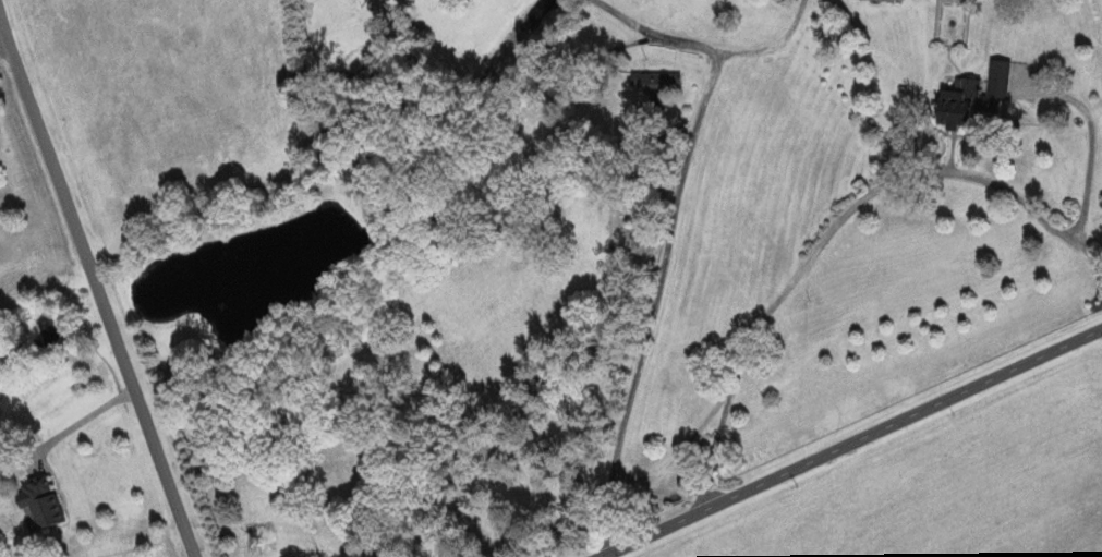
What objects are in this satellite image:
road: (7, 27)
road: (771, 45)
building: (662, 84)
building: (980, 95)
road: (1093, 147)
road: (831, 227)
road: (663, 244)
road: (101, 298)
road: (83, 420)
road: (853, 443)
road: (674, 458)
building: (47, 502)

